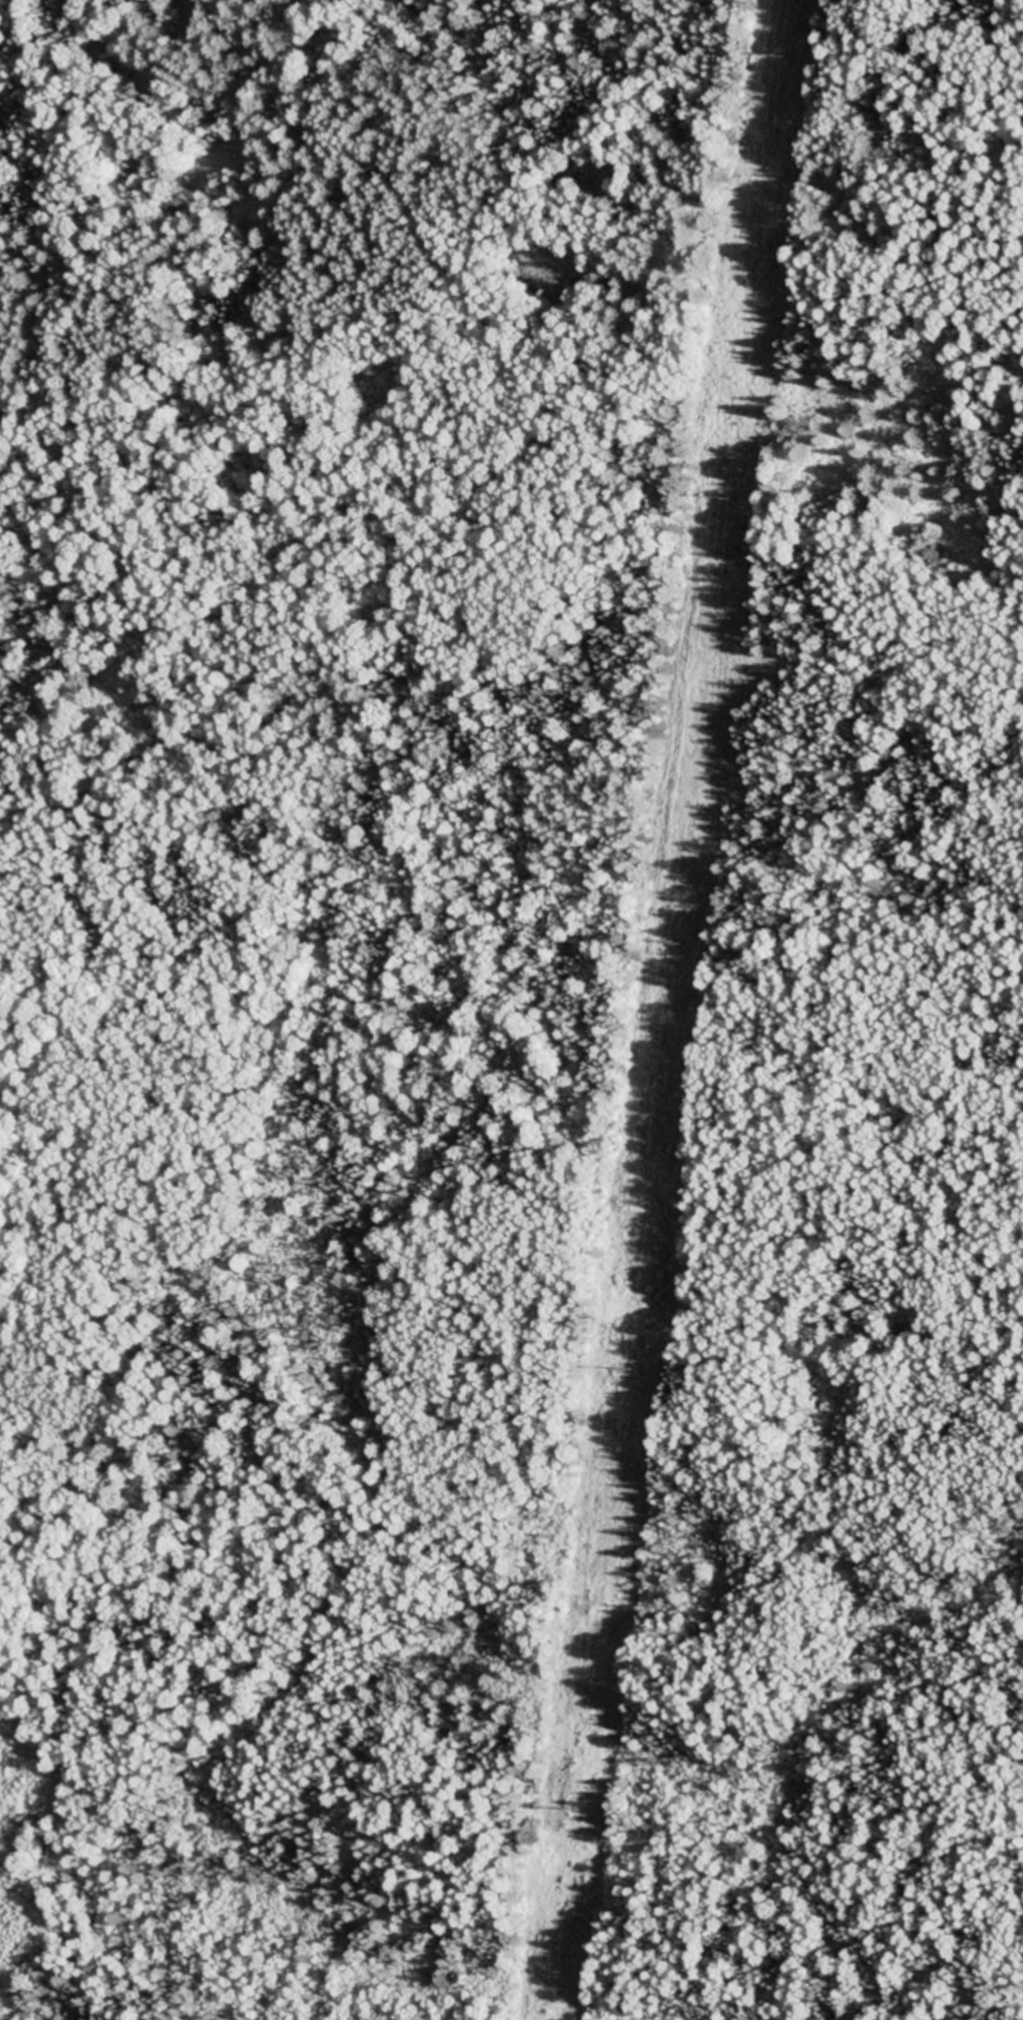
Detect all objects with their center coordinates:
power tower: (781, 55)
power tower: (729, 498)
power tower: (679, 945)
power tower: (627, 1367)
power tower: (576, 1809)

